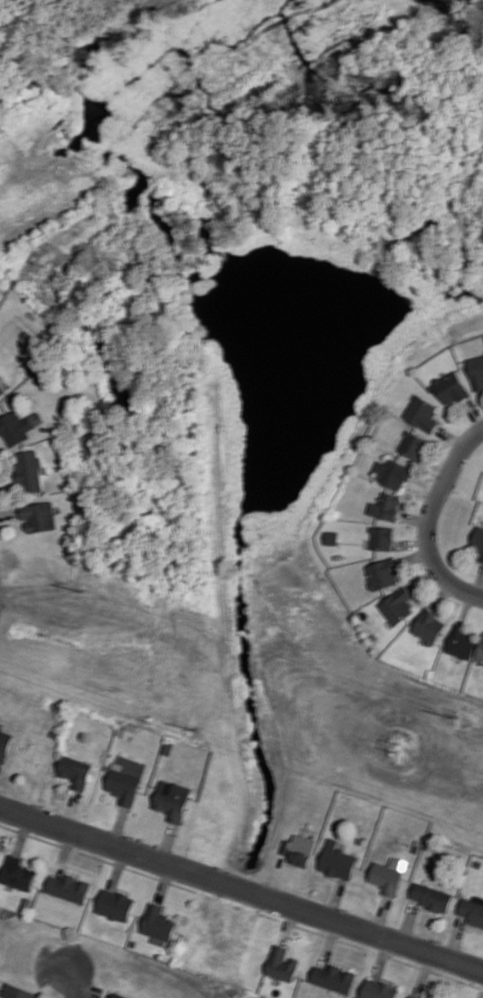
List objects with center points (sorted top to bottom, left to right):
building: (477, 371)
building: (451, 387)
building: (1, 390)
building: (423, 413)
building: (17, 427)
building: (413, 445)
building: (28, 470)
building: (393, 473)
building: (386, 506)
road: (451, 512)
building: (38, 516)
building: (331, 537)
building: (382, 538)
building: (478, 541)
building: (382, 573)
road: (467, 586)
building: (397, 605)
building: (428, 627)
building: (461, 642)
building: (480, 651)
power tower: (193, 728)
building: (4, 745)
building: (76, 772)
building: (123, 784)
building: (173, 800)
building: (299, 849)
building: (337, 860)
building: (17, 874)
building: (386, 878)
building: (68, 887)
road: (241, 890)
building: (431, 897)
building: (115, 904)
building: (473, 910)
building: (158, 924)
building: (281, 964)
building: (333, 977)
road: (74, 980)
building: (378, 989)
building: (19, 992)
building: (117, 995)
building: (414, 996)

